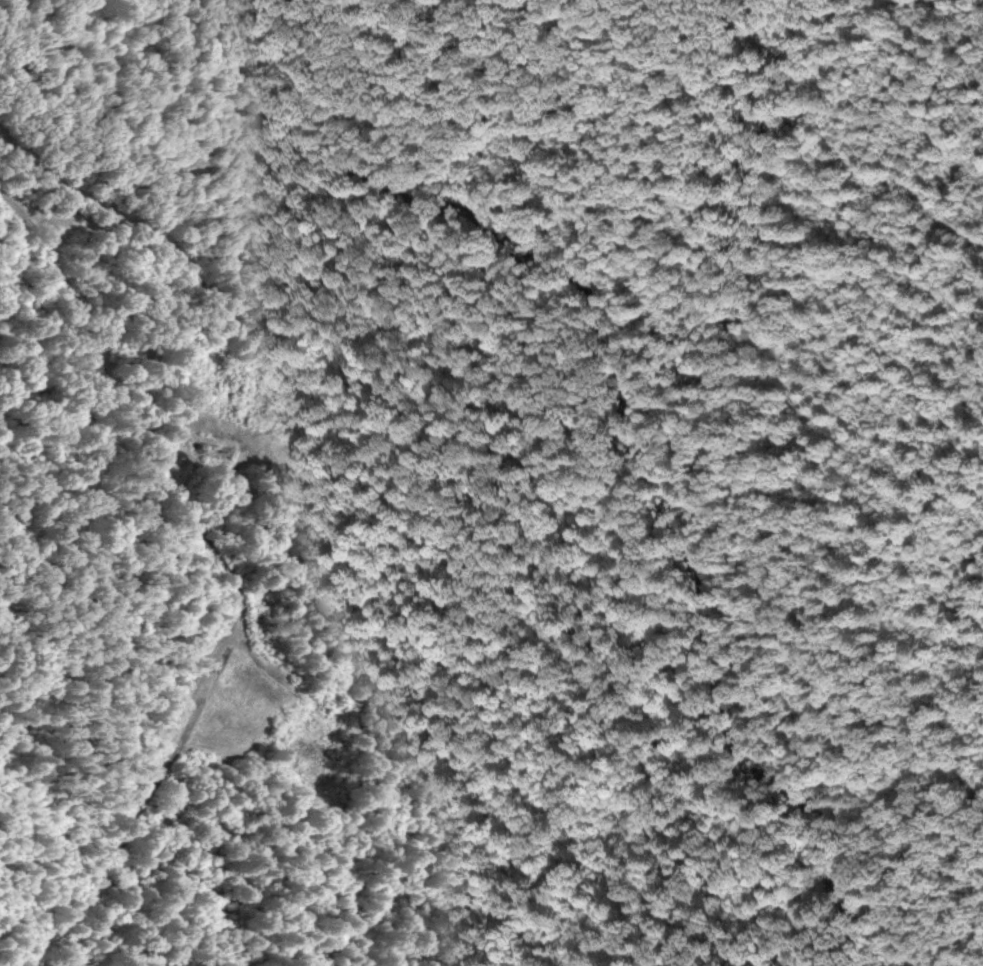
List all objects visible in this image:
road: (114, 573)

